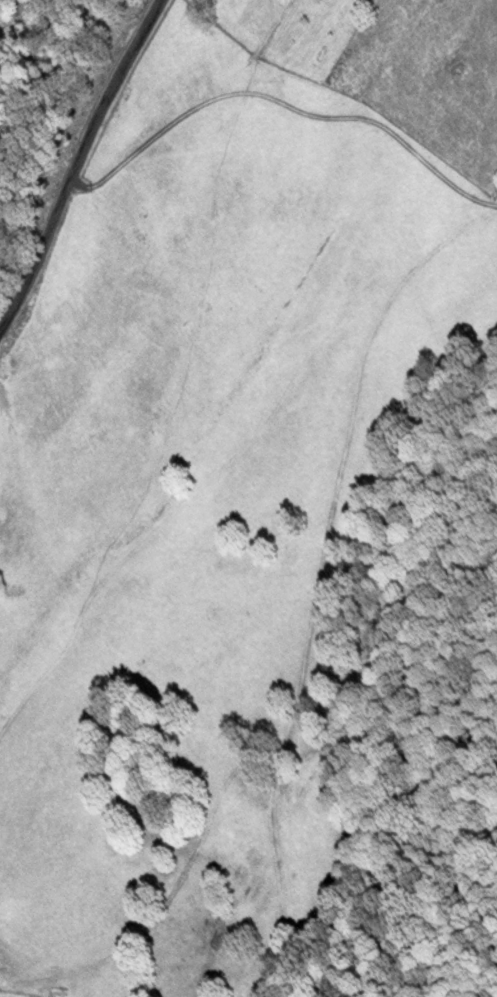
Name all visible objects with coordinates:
road: (282, 100)
road: (76, 163)

